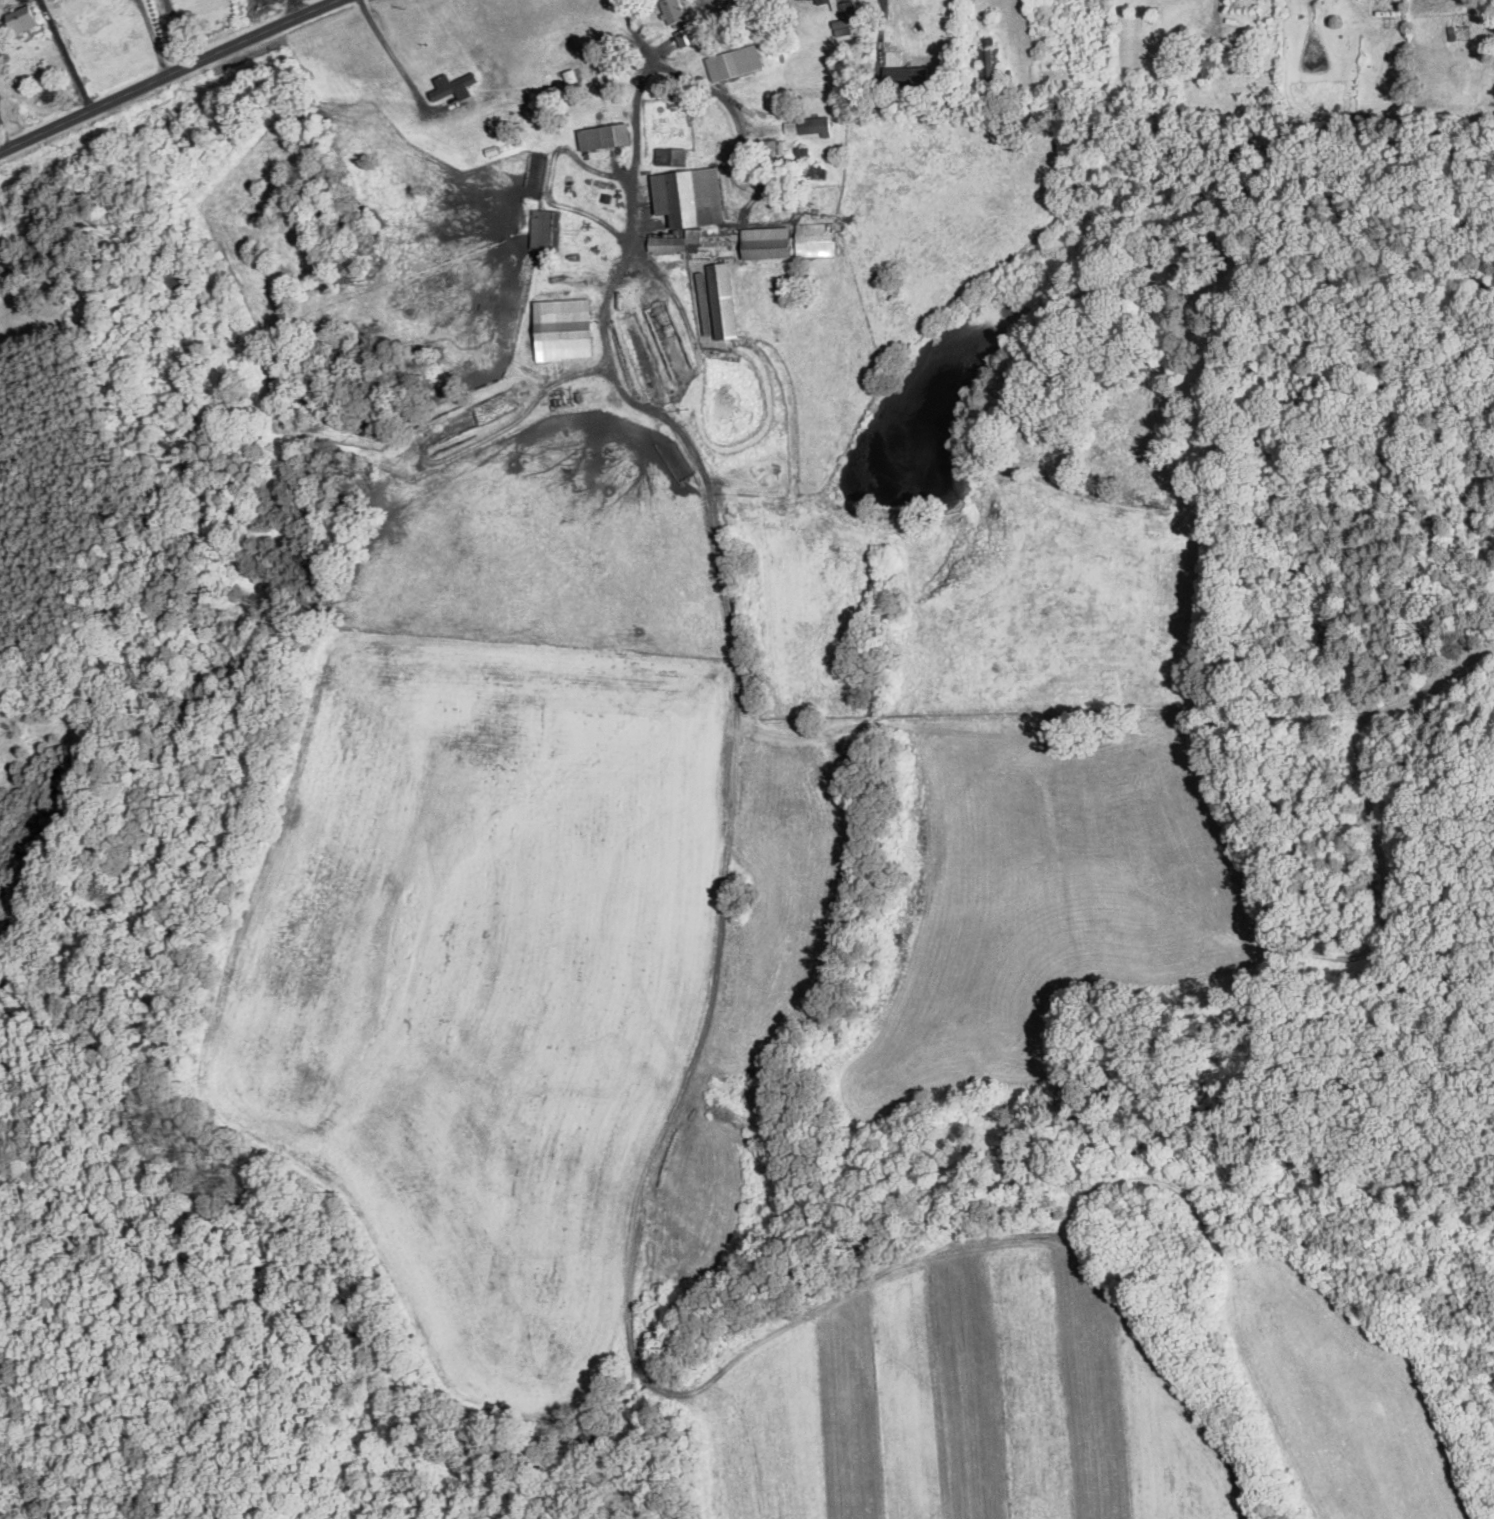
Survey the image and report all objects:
road: (292, 9)
building: (674, 11)
building: (26, 18)
building: (845, 18)
building: (686, 35)
road: (155, 38)
road: (394, 54)
building: (735, 61)
road: (70, 62)
road: (169, 76)
road: (702, 84)
building: (451, 87)
building: (815, 125)
building: (790, 126)
building: (605, 135)
building: (671, 155)
road: (635, 159)
building: (687, 205)
building: (542, 228)
building: (767, 242)
building: (717, 300)
building: (564, 328)

